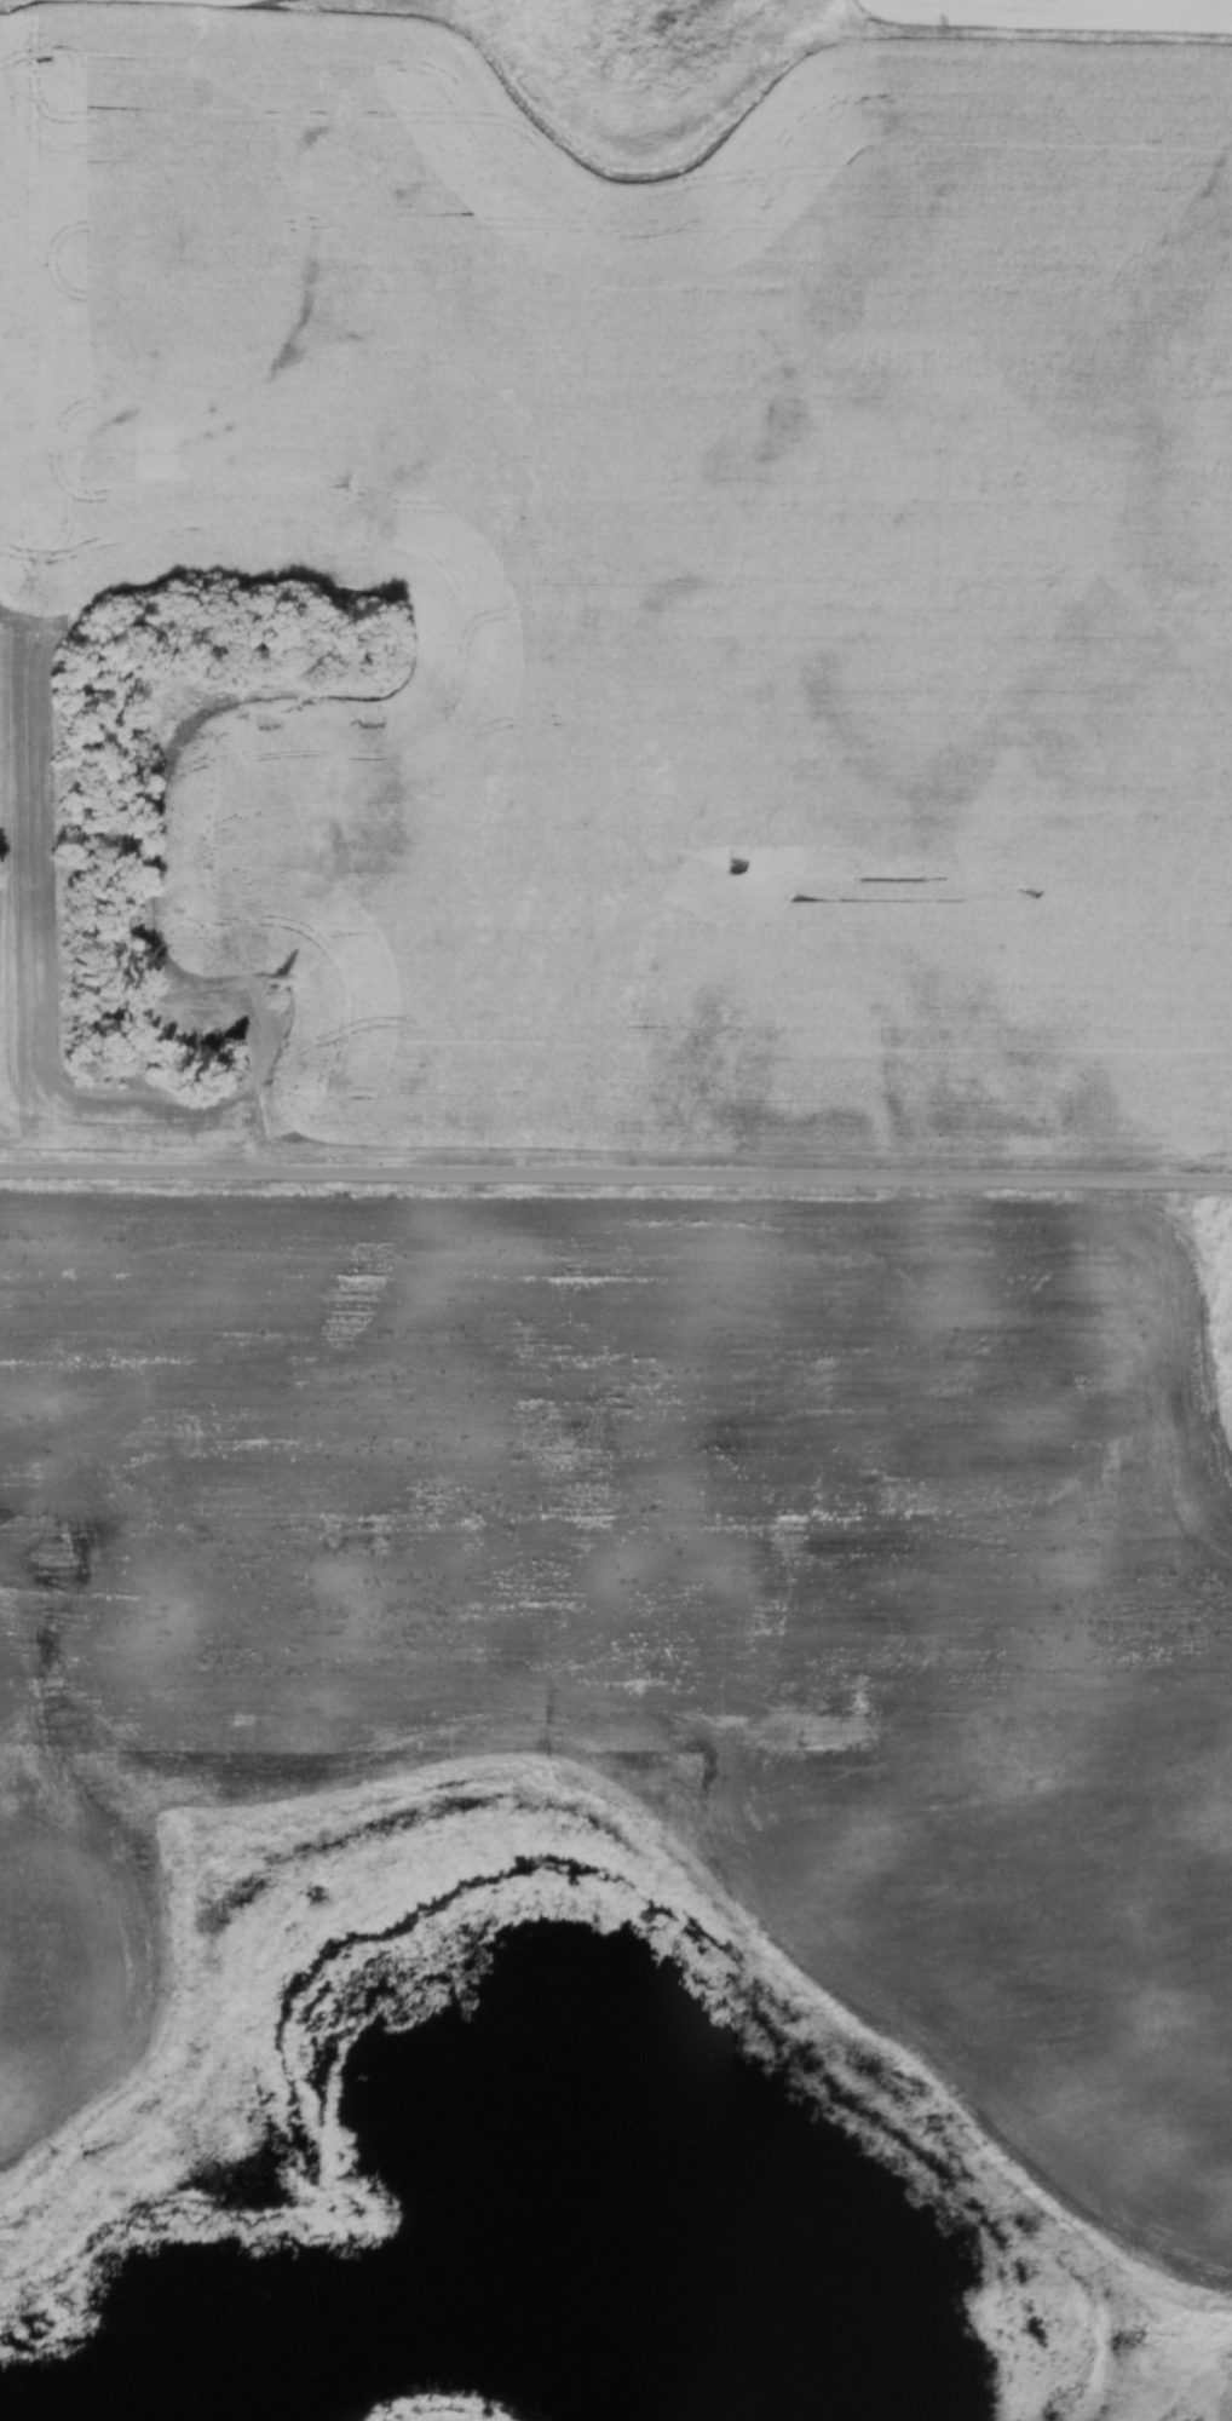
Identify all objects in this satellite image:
road: (616, 1175)

